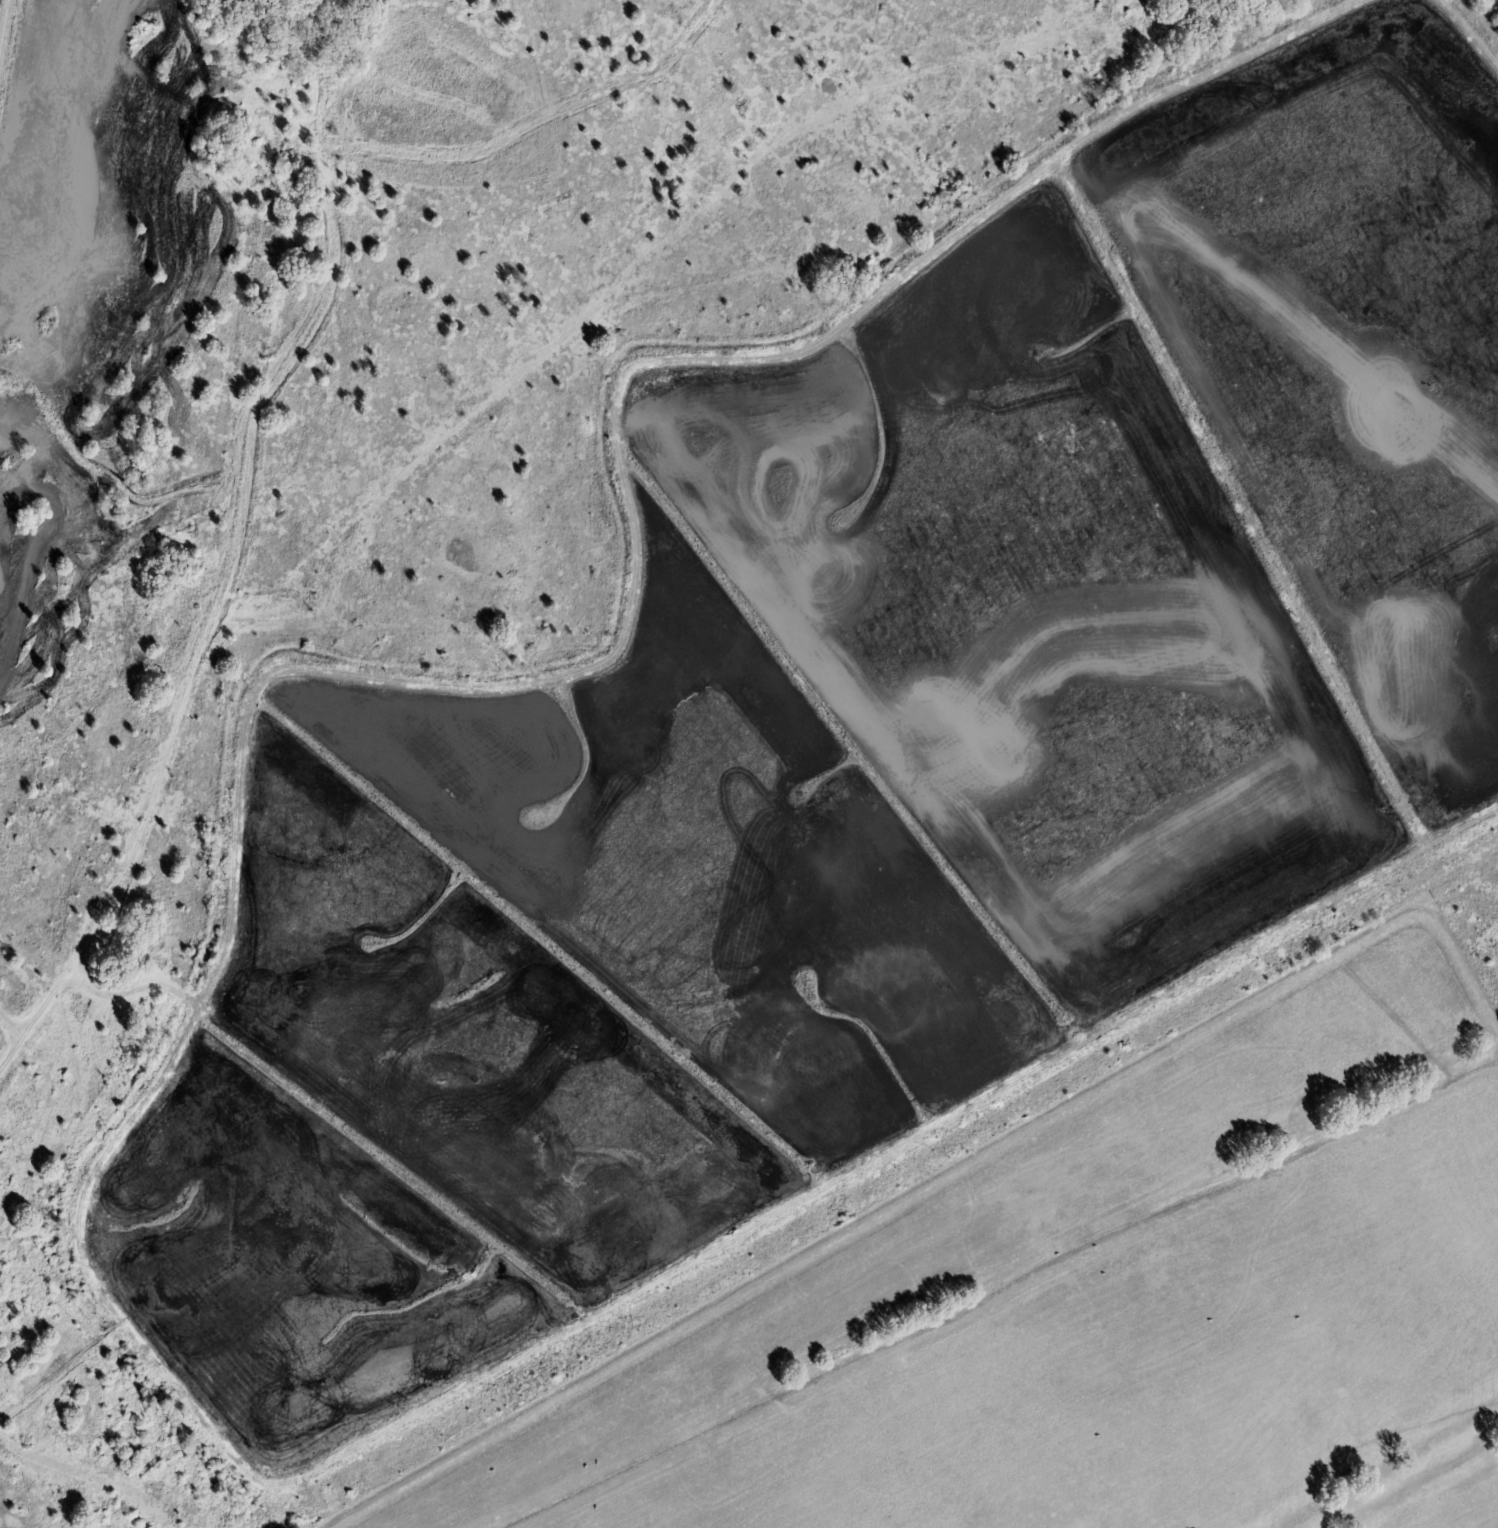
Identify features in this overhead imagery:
road: (147, 820)
road: (1394, 1467)
road: (106, 1484)

